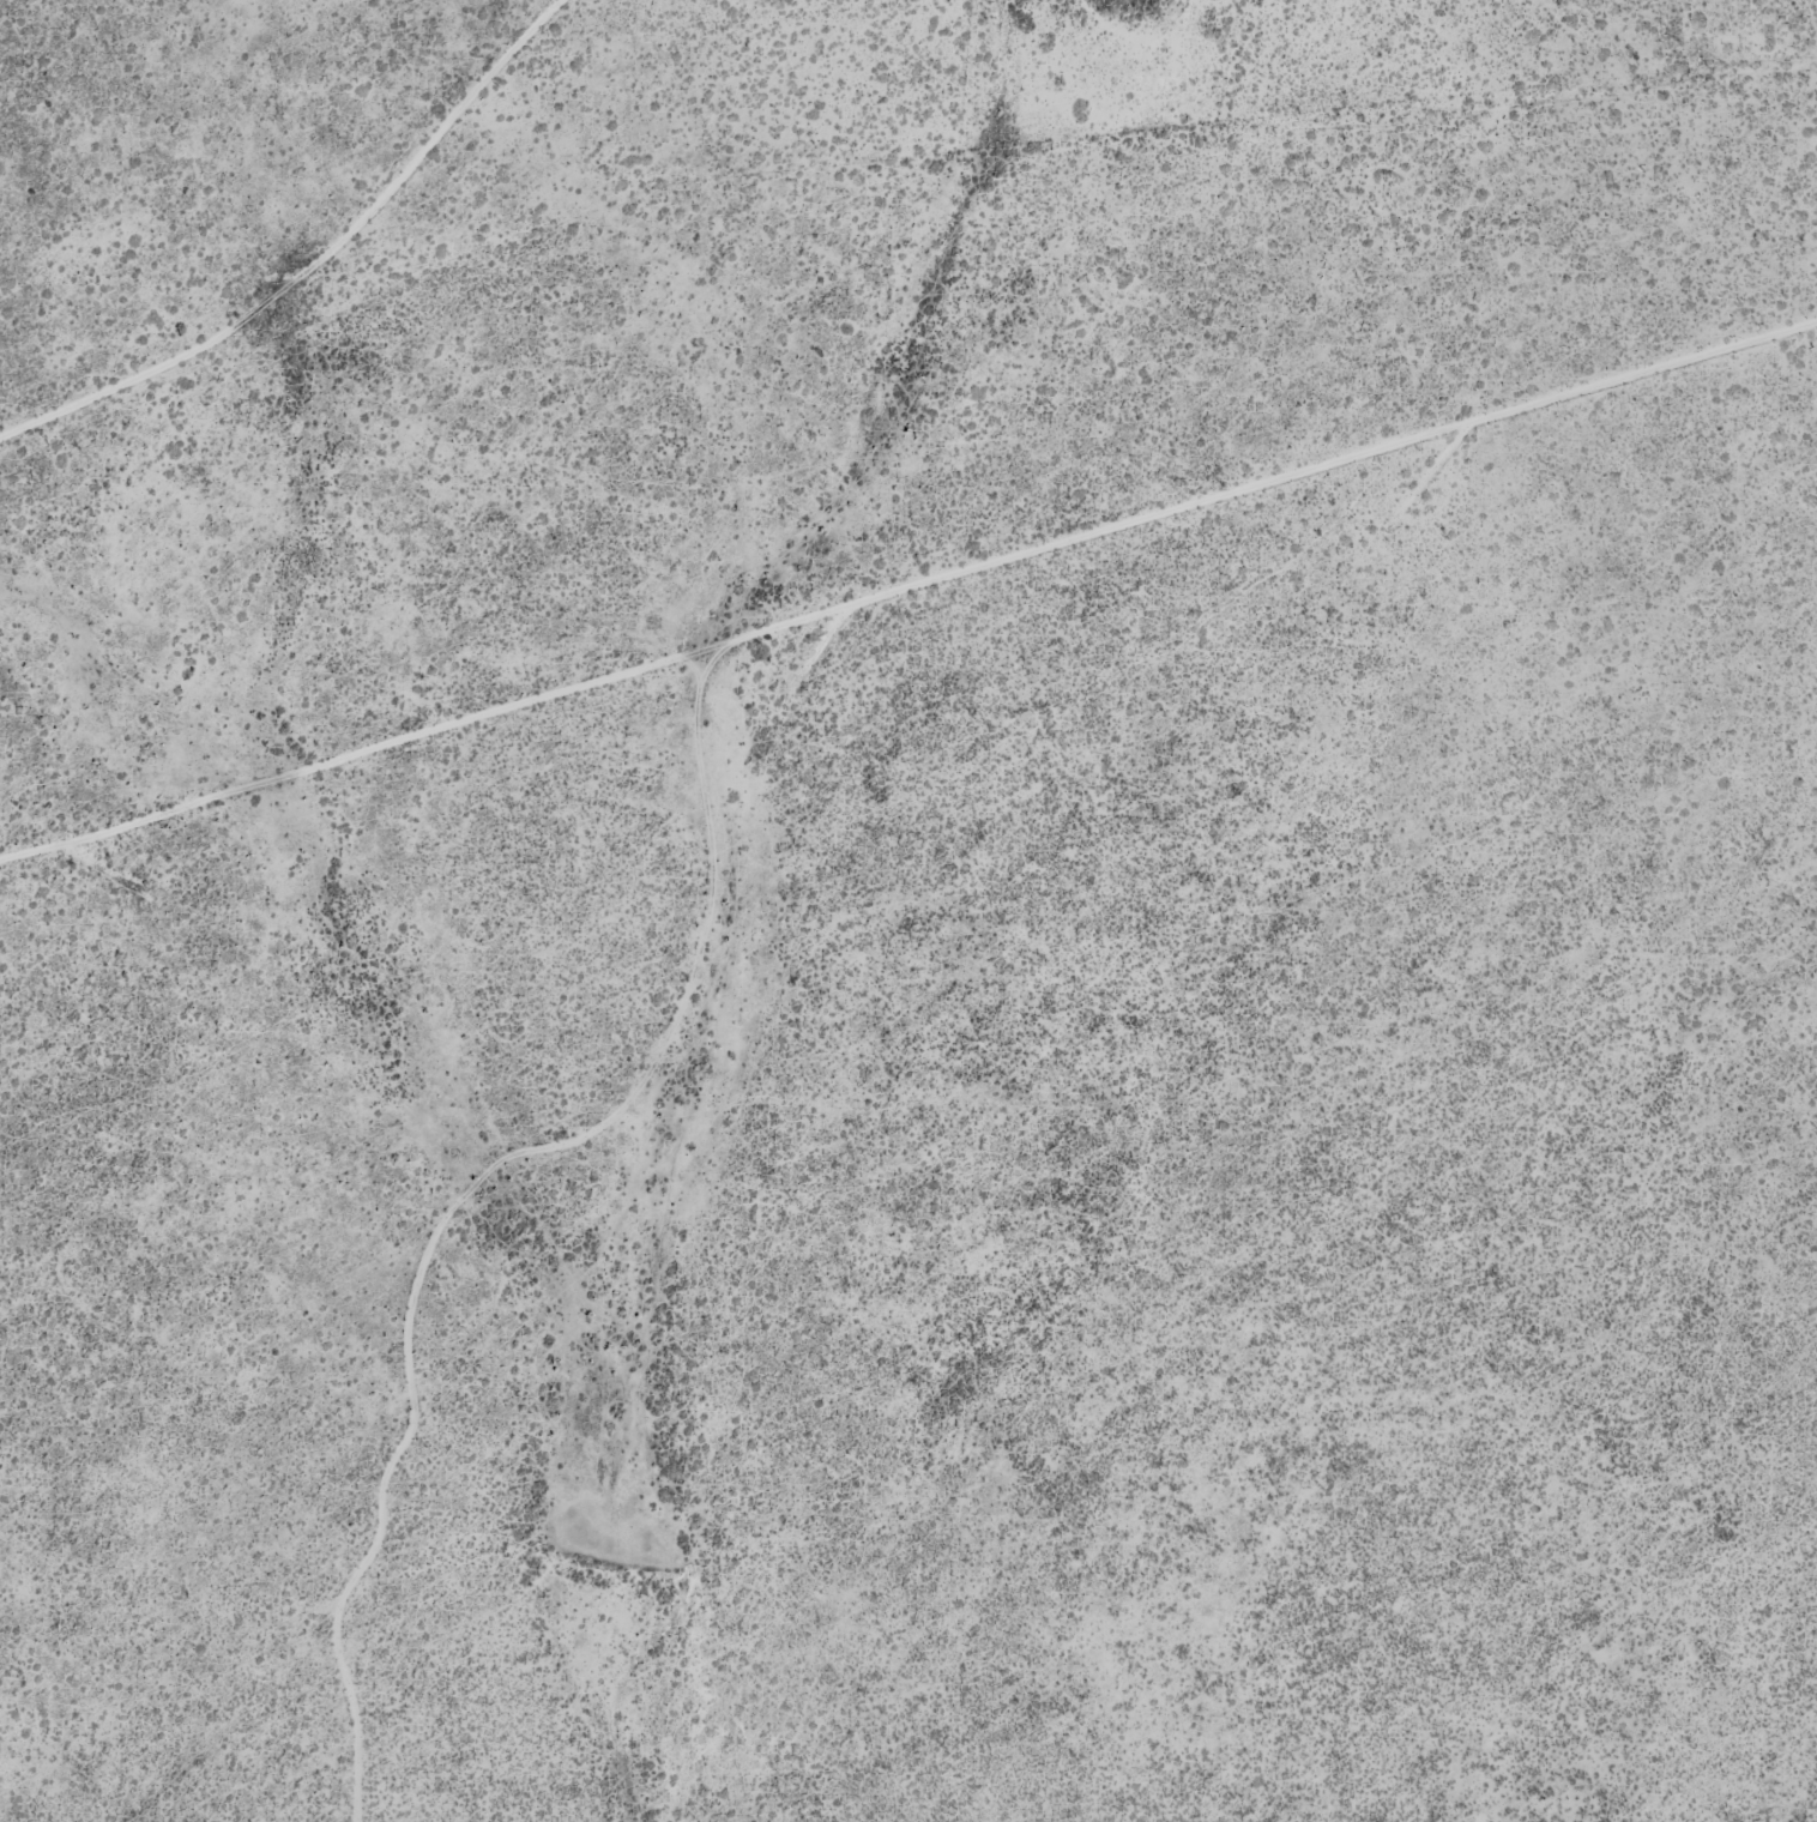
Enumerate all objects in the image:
road: (304, 259)

